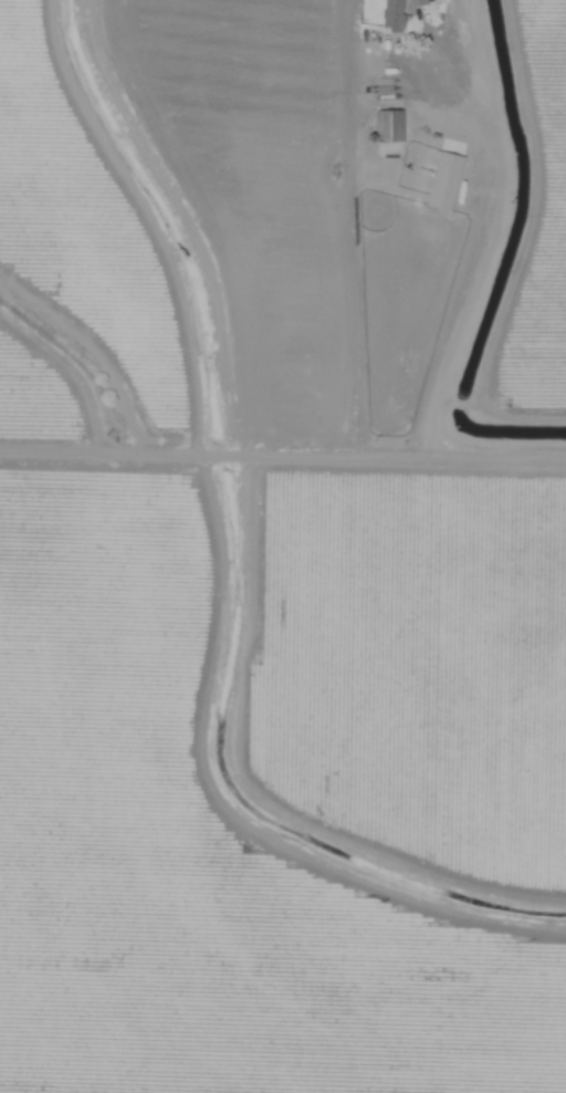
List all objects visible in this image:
building: (418, 3)
building: (392, 15)
building: (388, 125)
building: (443, 180)
road: (482, 253)
road: (87, 356)
road: (282, 460)
crop: (275, 647)

